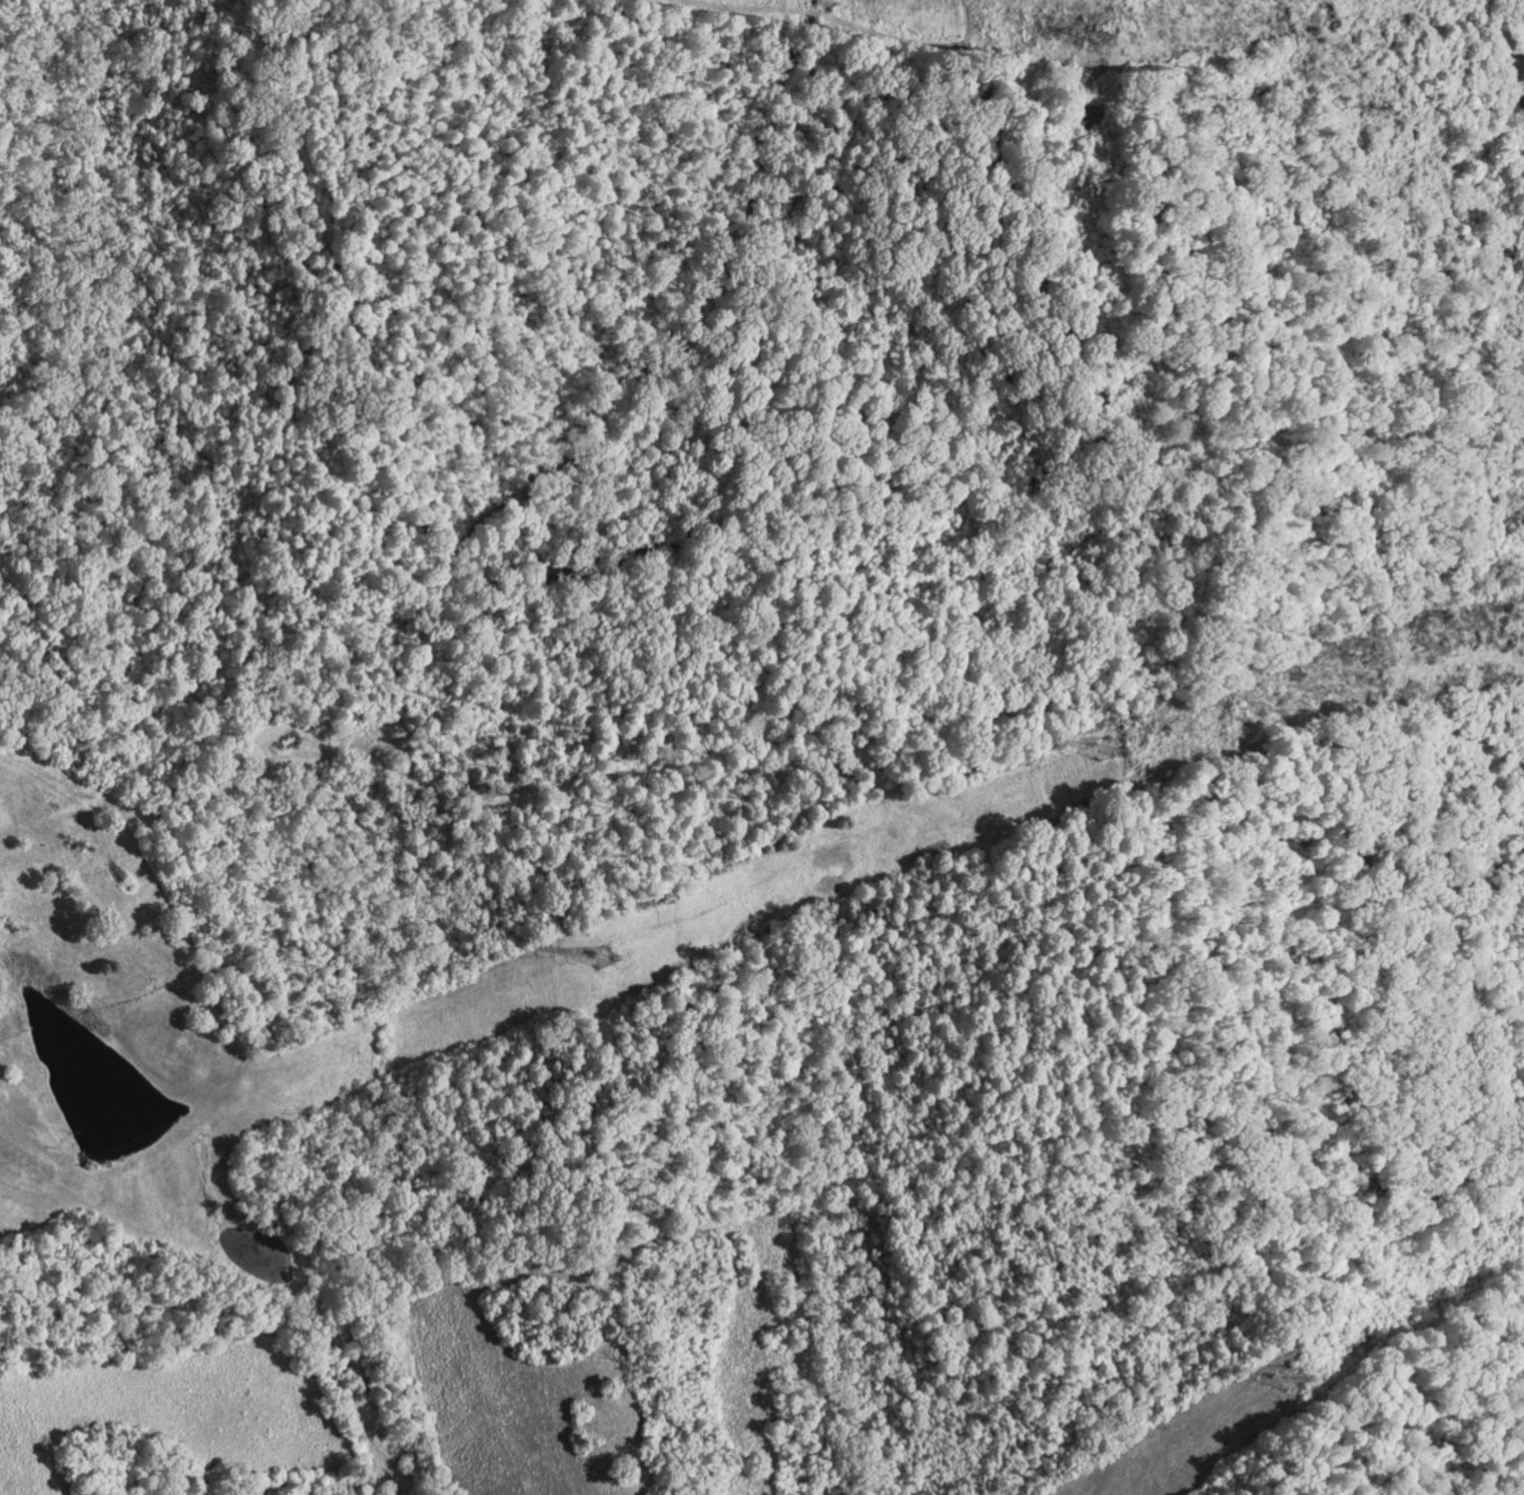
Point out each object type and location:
power tower: (1090, 51)
power tower: (1100, 750)
power tower: (598, 955)
power tower: (1284, 1381)

